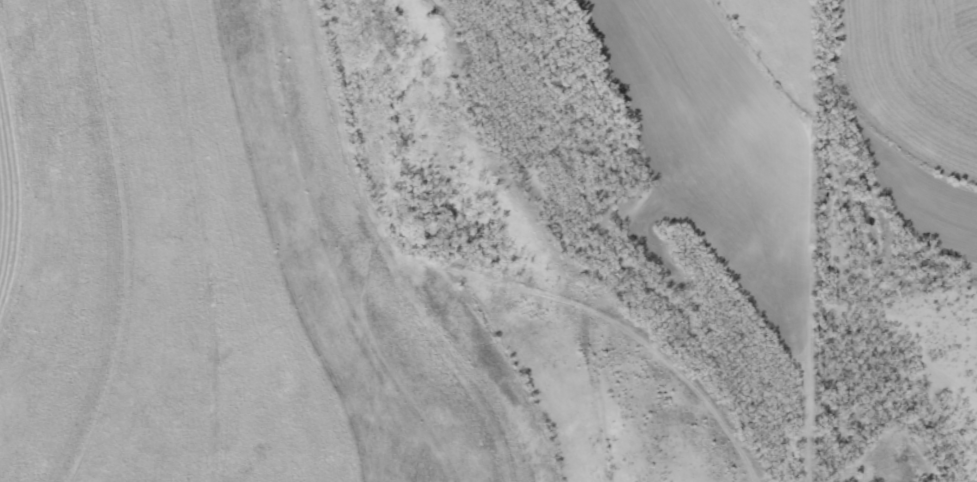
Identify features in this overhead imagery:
road: (897, 122)

